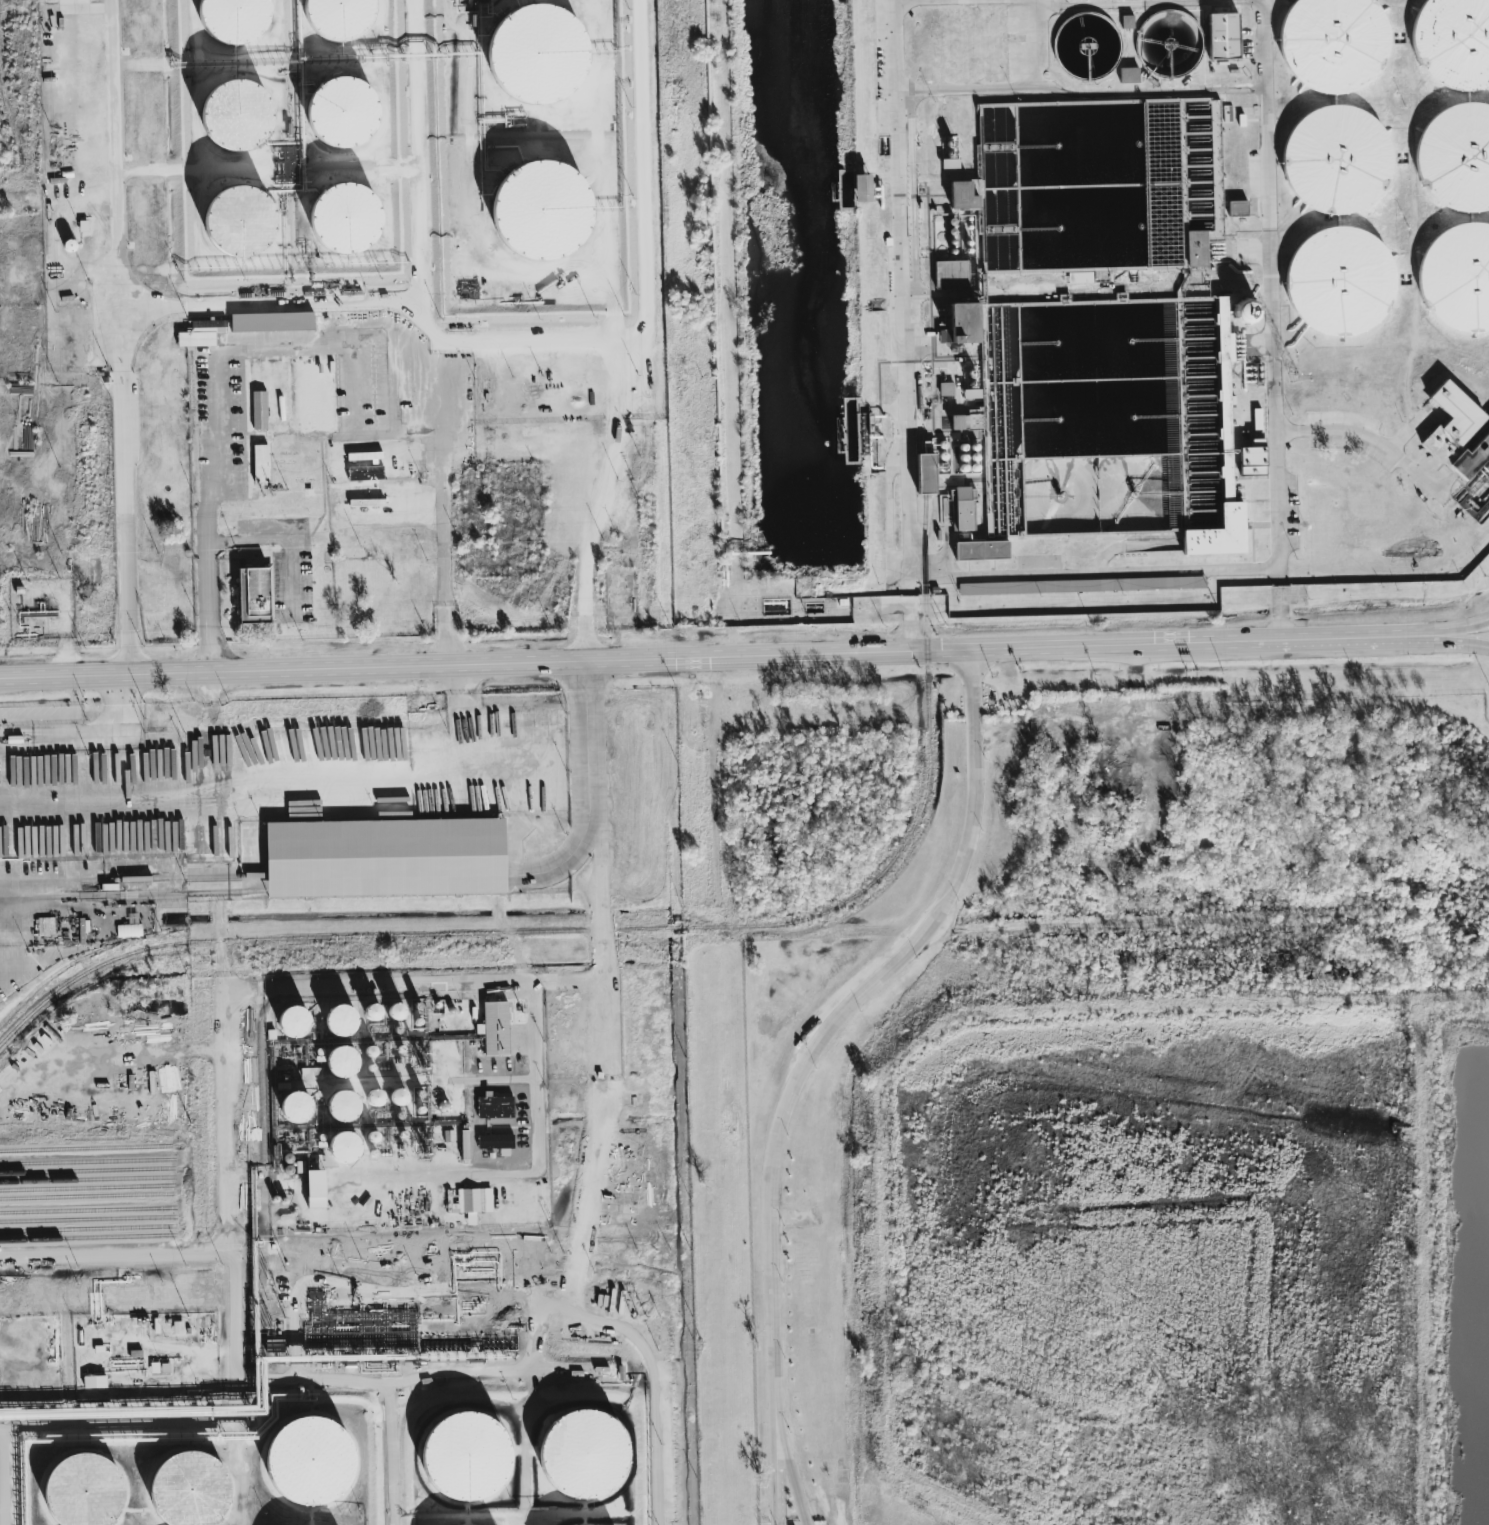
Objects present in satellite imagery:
road: (920, 1)
road: (1148, 4)
building: (334, 18)
building: (224, 20)
building: (1126, 22)
building: (1220, 35)
building: (1452, 42)
building: (1331, 43)
road: (1038, 48)
building: (1127, 75)
road: (1083, 92)
building: (336, 111)
building: (229, 115)
road: (110, 129)
building: (948, 152)
building: (1455, 157)
building: (1334, 160)
building: (858, 188)
building: (958, 195)
road: (35, 201)
road: (92, 202)
building: (1235, 207)
building: (338, 217)
building: (231, 223)
building: (80, 226)
building: (66, 246)
building: (1194, 248)
building: (949, 273)
road: (441, 277)
building: (1456, 277)
building: (1337, 281)
road: (286, 303)
building: (1242, 312)
road: (1278, 320)
building: (268, 322)
building: (957, 324)
road: (904, 325)
building: (197, 335)
road: (207, 335)
road: (334, 338)
road: (578, 339)
road: (47, 361)
road: (1384, 362)
road: (394, 379)
road: (352, 381)
building: (944, 388)
building: (969, 394)
road: (1427, 417)
building: (1255, 420)
building: (961, 422)
road: (327, 427)
road: (1380, 436)
building: (1457, 436)
road: (513, 444)
building: (1250, 459)
road: (125, 461)
building: (1219, 462)
building: (921, 475)
building: (943, 506)
building: (961, 509)
road: (1472, 515)
road: (285, 538)
road: (590, 538)
road: (1134, 539)
building: (978, 550)
road: (1093, 571)
building: (995, 588)
building: (249, 595)
road: (1451, 628)
road: (1336, 639)
road: (1451, 641)
road: (629, 659)
road: (464, 714)
road: (92, 736)
building: (381, 856)
road: (384, 872)
building: (43, 926)
railway: (658, 928)
building: (127, 930)
road: (600, 932)
building: (12, 937)
road: (465, 983)
building: (391, 1010)
building: (367, 1011)
building: (336, 1019)
building: (287, 1020)
building: (492, 1028)
building: (367, 1051)
building: (331, 1063)
road: (808, 1063)
building: (394, 1096)
building: (372, 1099)
building: (338, 1105)
building: (290, 1106)
building: (492, 1106)
building: (369, 1137)
building: (493, 1141)
building: (462, 1144)
building: (339, 1147)
railway: (85, 1148)
railway: (85, 1161)
railway: (85, 1170)
railway: (85, 1179)
railway: (85, 1187)
building: (311, 1188)
road: (226, 1191)
railway: (86, 1196)
railway: (86, 1210)
railway: (86, 1219)
railway: (86, 1228)
railway: (87, 1237)
road: (114, 1255)
building: (91, 1381)
building: (460, 1456)
building: (302, 1460)
road: (4, 1475)
road: (789, 1482)
building: (183, 1489)
building: (77, 1490)

